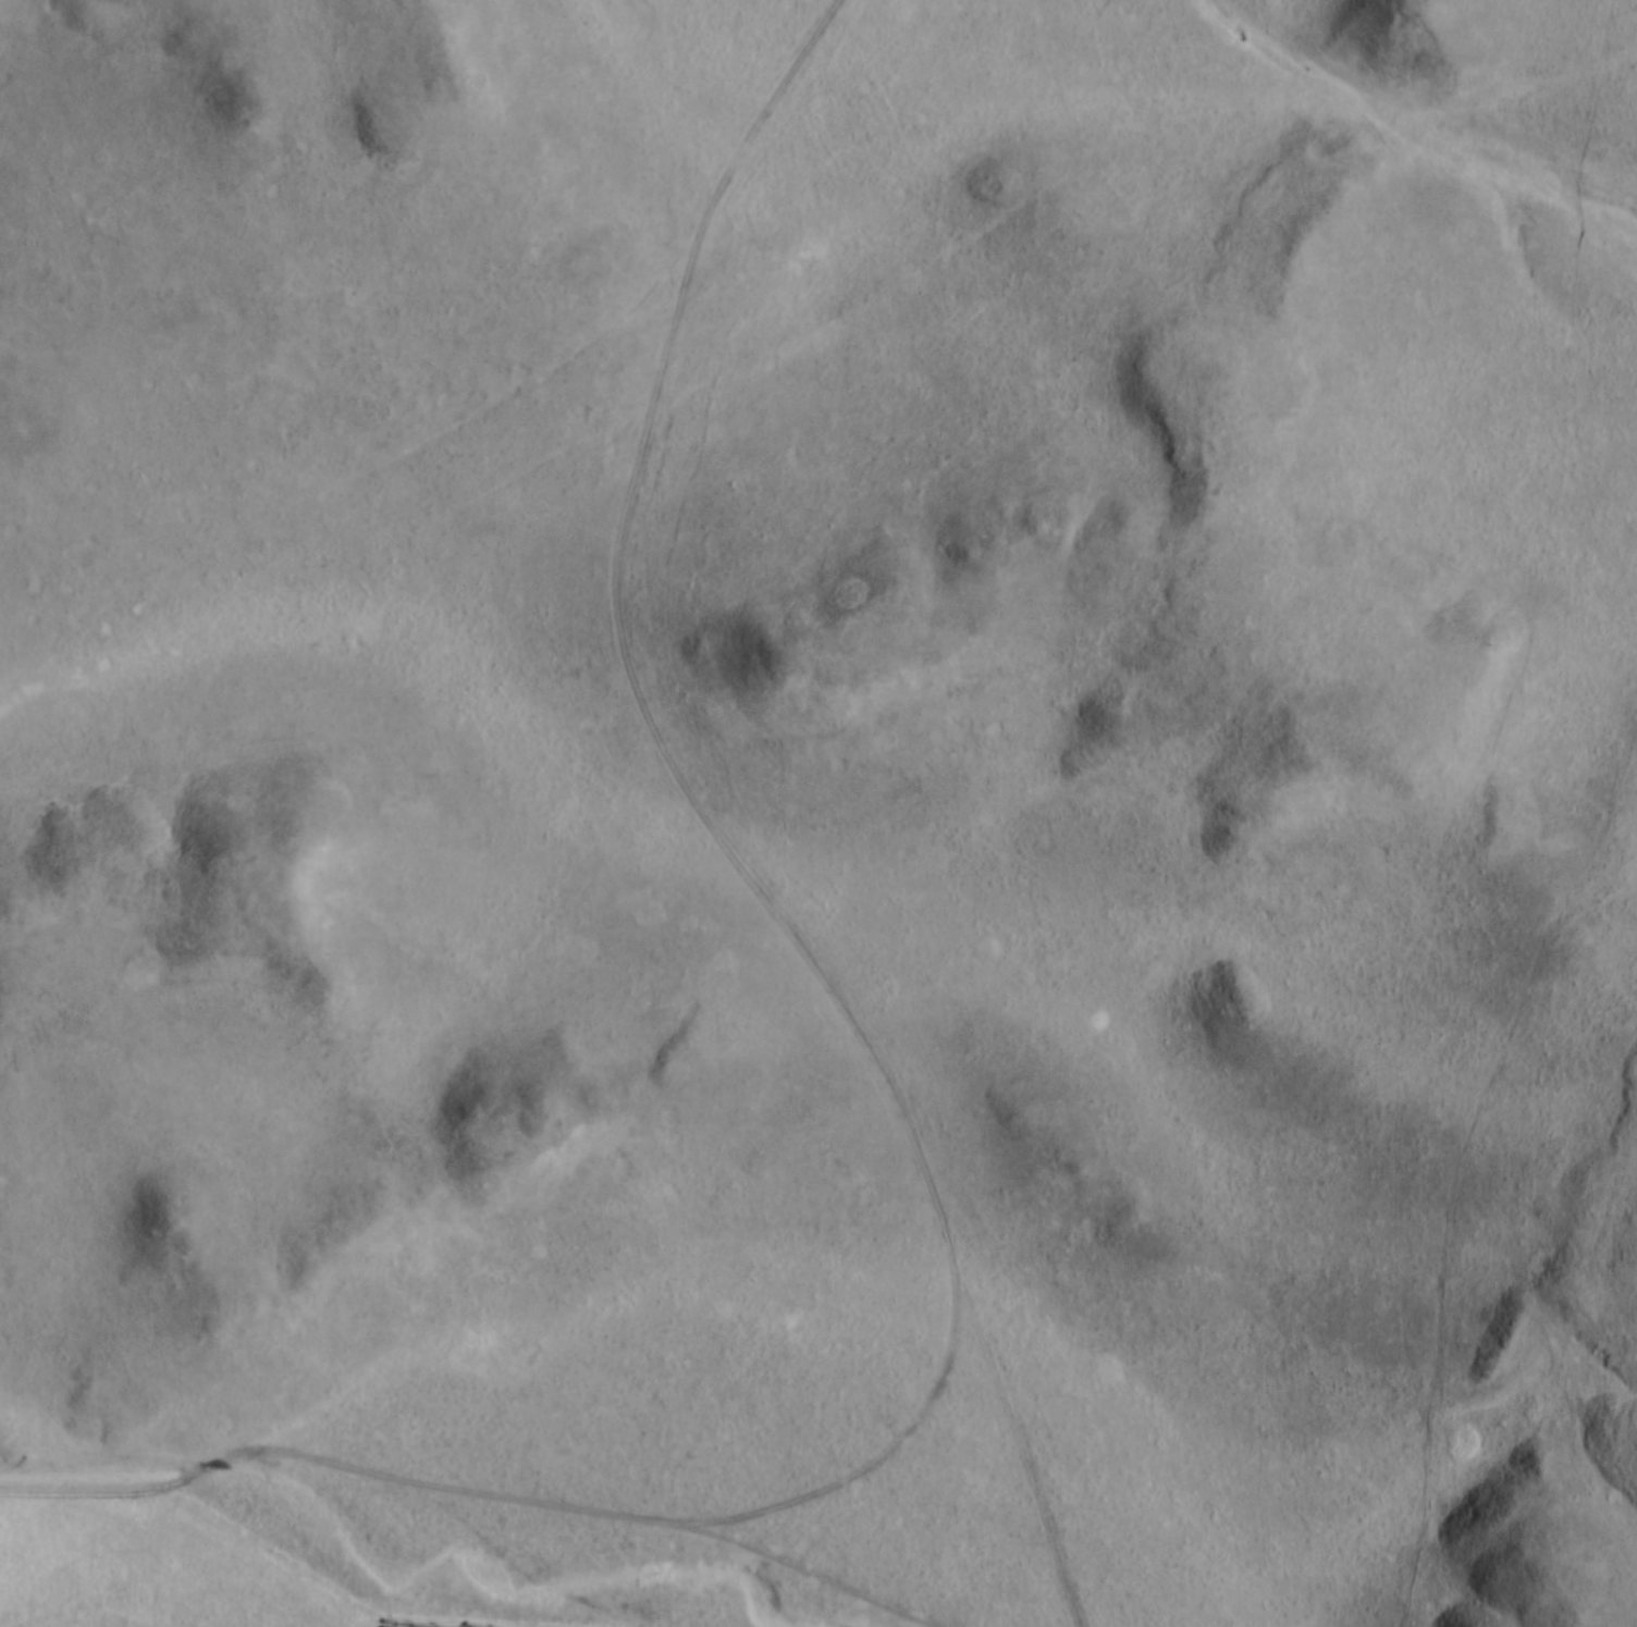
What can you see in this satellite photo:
road: (477, 1492)

